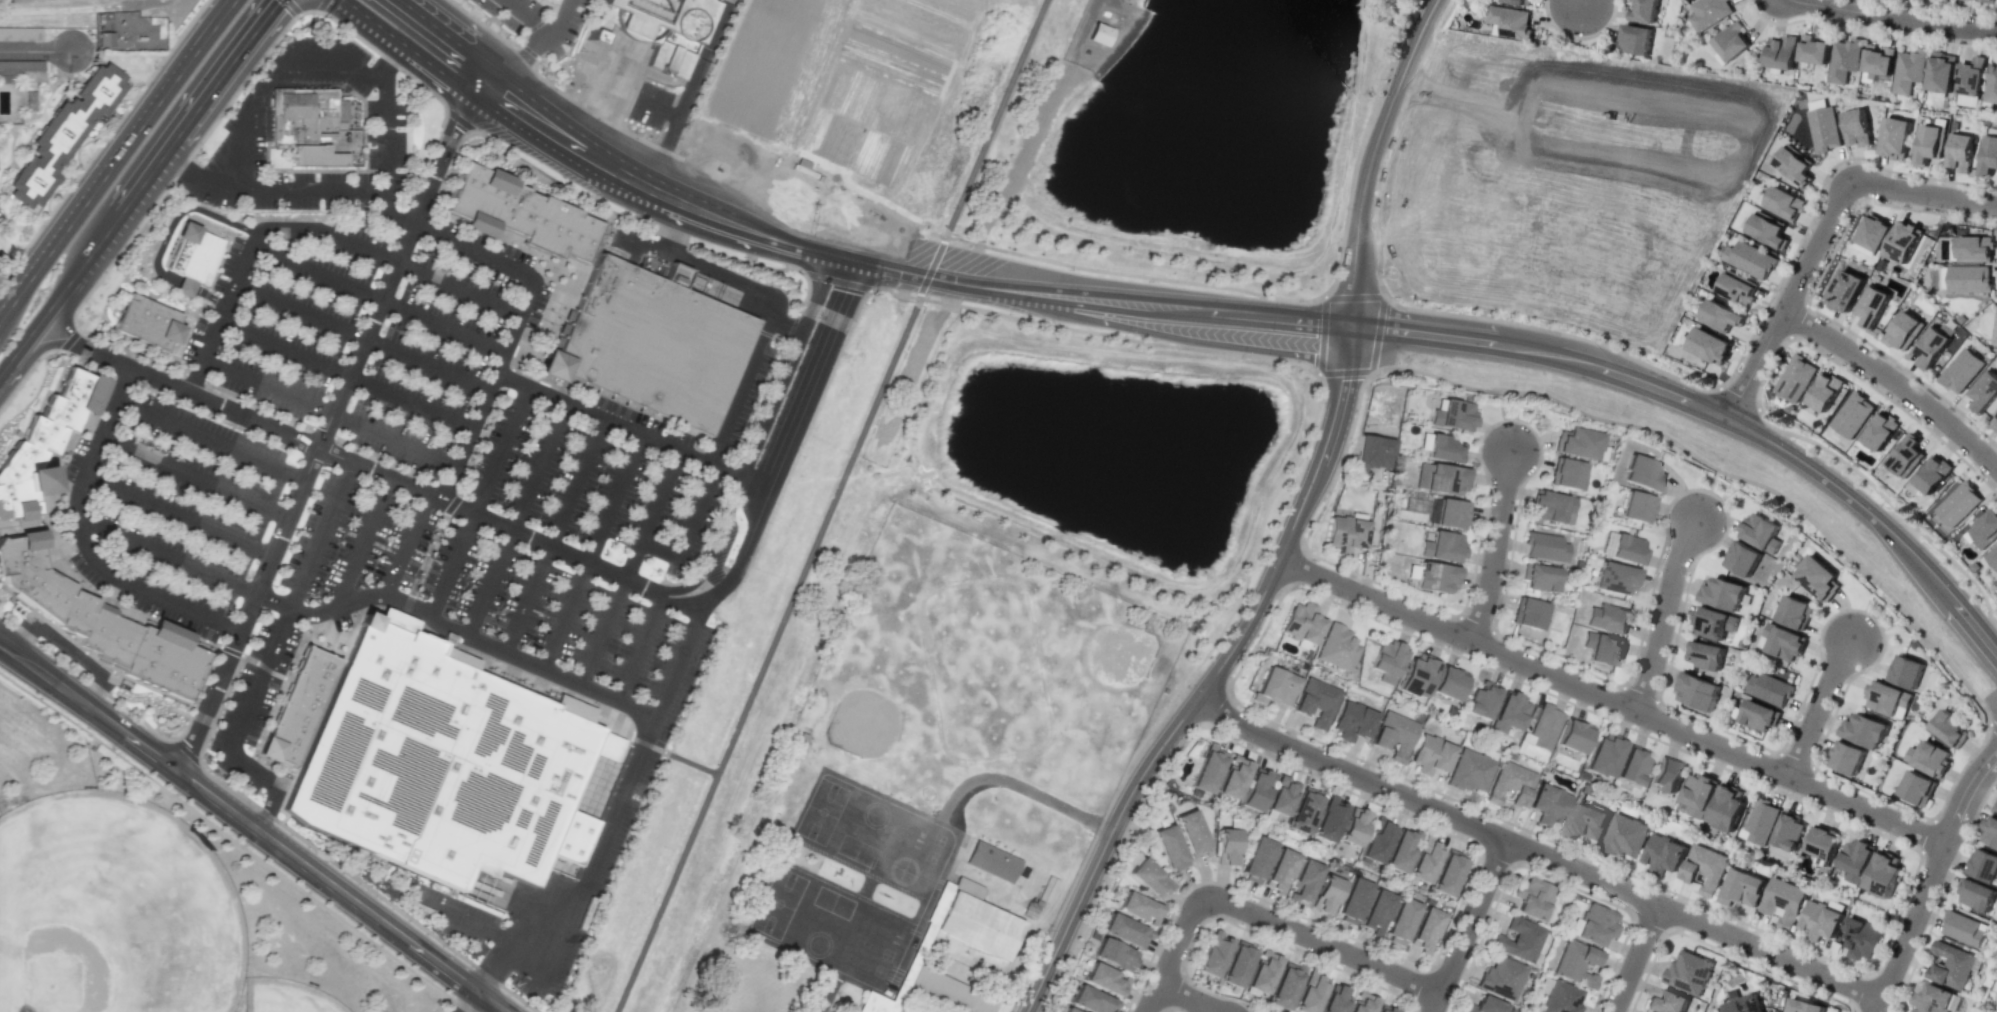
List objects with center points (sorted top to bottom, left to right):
building: (552, 1)
building: (1985, 1)
building: (1517, 2)
road: (1578, 2)
road: (325, 6)
road: (77, 7)
road: (290, 8)
road: (222, 9)
street lamp: (1936, 9)
building: (1641, 10)
road: (1429, 11)
building: (1707, 13)
road: (401, 14)
road: (544, 17)
road: (1894, 17)
building: (1510, 20)
road: (373, 22)
street lamp: (1833, 24)
street lamp: (1438, 25)
road: (542, 27)
building: (659, 27)
road: (489, 30)
building: (1098, 34)
street lamp: (1566, 37)
building: (106, 39)
building: (1635, 39)
building: (1730, 41)
road: (35, 50)
building: (1813, 52)
building: (1780, 53)
building: (1842, 60)
building: (1877, 60)
road: (525, 65)
street lamp: (153, 67)
road: (229, 69)
building: (23, 70)
building: (1907, 70)
road: (272, 71)
building: (1940, 72)
street lamp: (1385, 77)
building: (1969, 82)
building: (1991, 83)
road: (236, 92)
road: (561, 92)
road: (688, 95)
road: (604, 105)
crop: (851, 112)
parking lot: (387, 117)
road: (1007, 117)
building: (320, 124)
building: (1856, 127)
building: (1823, 128)
road: (383, 135)
building: (1894, 137)
building: (71, 138)
road: (985, 139)
road: (103, 141)
road: (647, 142)
building: (1928, 143)
road: (116, 152)
building: (1959, 152)
building: (1989, 152)
building: (314, 159)
building: (1793, 164)
road: (177, 168)
road: (1015, 171)
road: (1365, 172)
road: (619, 174)
road: (149, 176)
road: (288, 191)
road: (1923, 192)
building: (1783, 202)
building: (518, 211)
road: (1656, 211)
road: (635, 222)
road: (472, 225)
building: (1767, 229)
road: (312, 230)
building: (1873, 233)
road: (166, 235)
road: (598, 241)
building: (1902, 242)
road: (646, 244)
building: (1973, 248)
building: (199, 251)
building: (1749, 259)
road: (495, 264)
road: (83, 269)
road: (712, 270)
street lamp: (1381, 275)
building: (1968, 279)
building: (1737, 288)
street lamp: (1776, 289)
building: (1843, 290)
road: (1788, 298)
street lamp: (1297, 300)
road: (377, 301)
road: (840, 303)
building: (1870, 305)
road: (1102, 307)
street lamp: (1458, 311)
building: (1721, 315)
road: (549, 319)
building: (147, 324)
building: (1902, 331)
street lamp: (1585, 335)
road: (361, 338)
road: (69, 341)
building: (653, 343)
building: (1709, 345)
building: (1931, 347)
road: (22, 351)
street lamp: (1240, 355)
street lamp: (1828, 355)
building: (1961, 370)
street lamp: (1393, 372)
road: (27, 374)
road: (344, 377)
building: (1795, 378)
road: (1895, 383)
building: (1984, 391)
building: (1824, 392)
road: (607, 396)
road: (1715, 409)
road: (269, 410)
road: (479, 412)
road: (328, 414)
building: (1454, 414)
street lamp: (1620, 414)
building: (1852, 414)
road: (1514, 421)
building: (1994, 421)
road: (326, 428)
road: (626, 428)
building: (1879, 431)
road: (727, 432)
street lamp: (1792, 439)
road: (212, 441)
building: (41, 443)
street lamp: (1349, 443)
building: (1578, 443)
building: (1443, 448)
building: (1372, 453)
building: (1905, 455)
street lamp: (1719, 458)
road: (373, 468)
building: (1566, 473)
building: (1643, 474)
building: (1932, 475)
road: (762, 476)
road: (1284, 477)
road: (195, 479)
building: (1444, 479)
road: (1707, 494)
road: (476, 503)
street lamp: (1880, 503)
building: (1958, 504)
parking lot: (407, 505)
road: (829, 506)
building: (1636, 507)
building: (1553, 508)
building: (1449, 513)
road: (179, 516)
street lamp: (1802, 517)
road: (515, 520)
building: (1985, 529)
road: (1372, 532)
building: (1760, 532)
building: (1344, 535)
road: (554, 536)
road: (82, 540)
road: (365, 541)
building: (1441, 546)
road: (1494, 546)
road: (407, 547)
building: (1544, 547)
building: (1626, 549)
road: (592, 553)
road: (62, 554)
road: (166, 557)
building: (1994, 557)
building: (1743, 559)
road: (629, 568)
building: (1435, 577)
building: (1541, 578)
building: (1615, 578)
building: (1819, 578)
street lamp: (1875, 587)
building: (1724, 594)
street lamp: (1335, 600)
street lamp: (1864, 609)
road: (403, 611)
building: (1795, 612)
building: (1528, 613)
road: (1662, 615)
building: (1608, 618)
road: (1872, 619)
building: (96, 622)
building: (1301, 623)
building: (1713, 623)
road: (283, 624)
street lamp: (1229, 625)
road: (456, 632)
building: (1783, 642)
road: (770, 644)
street lamp: (1446, 646)
building: (1336, 647)
road: (640, 649)
building: (1603, 649)
building: (1705, 655)
road: (95, 660)
building: (1386, 661)
street lamp: (1943, 662)
park: (986, 666)
street lamp: (1863, 672)
building: (1906, 672)
building: (1416, 676)
road: (87, 681)
road: (1209, 681)
building: (1448, 682)
street lamp: (1185, 686)
building: (1275, 686)
building: (1769, 688)
road: (563, 691)
building: (1698, 691)
road: (199, 692)
building: (1482, 700)
road: (1609, 700)
building: (1315, 703)
road: (219, 706)
building: (295, 707)
road: (1817, 707)
building: (1508, 713)
building: (1759, 715)
building: (1352, 722)
street lamp: (1634, 726)
building: (1542, 728)
street lamp: (1716, 729)
building: (1949, 729)
building: (1865, 731)
building: (1393, 735)
building: (1573, 736)
street lamp: (1241, 741)
street lamp: (1179, 744)
road: (187, 748)
building: (1430, 755)
building: (1603, 755)
building: (1847, 757)
street lamp: (1966, 758)
building: (1931, 759)
street lamp: (1359, 760)
building: (445, 763)
building: (1631, 766)
building: (1208, 768)
building: (1468, 771)
building: (1667, 774)
building: (1232, 777)
building: (1509, 784)
building: (1917, 787)
road: (1020, 788)
building: (1255, 790)
street lamp: (1789, 793)
building: (1281, 796)
building: (1547, 804)
building: (1727, 807)
park: (822, 810)
building: (1303, 811)
building: (1996, 811)
building: (1328, 819)
building: (1586, 821)
building: (1760, 821)
building: (1353, 826)
road: (252, 829)
building: (1788, 831)
street lamp: (1970, 832)
building: (1990, 832)
street lamp: (1883, 833)
building: (1191, 834)
building: (1625, 836)
road: (234, 842)
building: (1822, 842)
building: (1375, 843)
building: (1226, 846)
building: (1169, 848)
road: (597, 850)
building: (1399, 850)
road: (1536, 852)
building: (1663, 854)
building: (989, 858)
building: (1256, 859)
building: (1854, 859)
building: (1984, 865)
building: (1705, 868)
building: (1279, 870)
building: (1447, 872)
building: (1882, 874)
road: (1929, 875)
building: (1148, 878)
building: (1303, 881)
road: (364, 886)
street lamp: (1101, 887)
building: (1046, 888)
street lamp: (1230, 888)
building: (1742, 888)
building: (1325, 894)
street lamp: (1671, 894)
building: (1977, 895)
building: (1532, 898)
building: (1352, 900)
park: (778, 902)
street lamp: (1461, 902)
building: (1783, 902)
building: (1032, 906)
building: (1139, 908)
park: (113, 909)
street lamp: (1175, 909)
building: (1375, 912)
street lamp: (1899, 916)
road: (1262, 919)
building: (1820, 919)
building: (1399, 921)
road: (1467, 925)
building: (1596, 925)
building: (974, 926)
building: (1425, 929)
building: (1963, 929)
building: (1124, 930)
building: (1859, 938)
building: (1517, 939)
park: (1994, 949)
street lamp: (1729, 950)
building: (1114, 954)
building: (1212, 954)
street lamp: (1311, 954)
street lamp: (1068, 957)
street lamp: (1619, 957)
road: (1635, 958)
street lamp: (1398, 959)
street lamp: (1827, 960)
building: (1575, 963)
building: (1237, 964)
building: (1951, 965)
road: (492, 967)
building: (1262, 971)
building: (1689, 971)
building: (1501, 976)
building: (1105, 979)
building: (1284, 986)
building: (946, 991)
road: (1183, 994)
building: (1309, 995)
park: (286, 996)
road: (824, 997)
building: (1560, 998)
park: (1991, 998)
building: (1933, 999)
building: (1091, 1000)
building: (1334, 1000)
road: (473, 1002)
building: (1666, 1003)
building: (872, 1004)
building: (1362, 1005)
building: (1741, 1005)
building: (1805, 1006)
building: (900, 1008)
building: (1385, 1009)
building: (1062, 1011)
street lamp: (1891, 1011)

